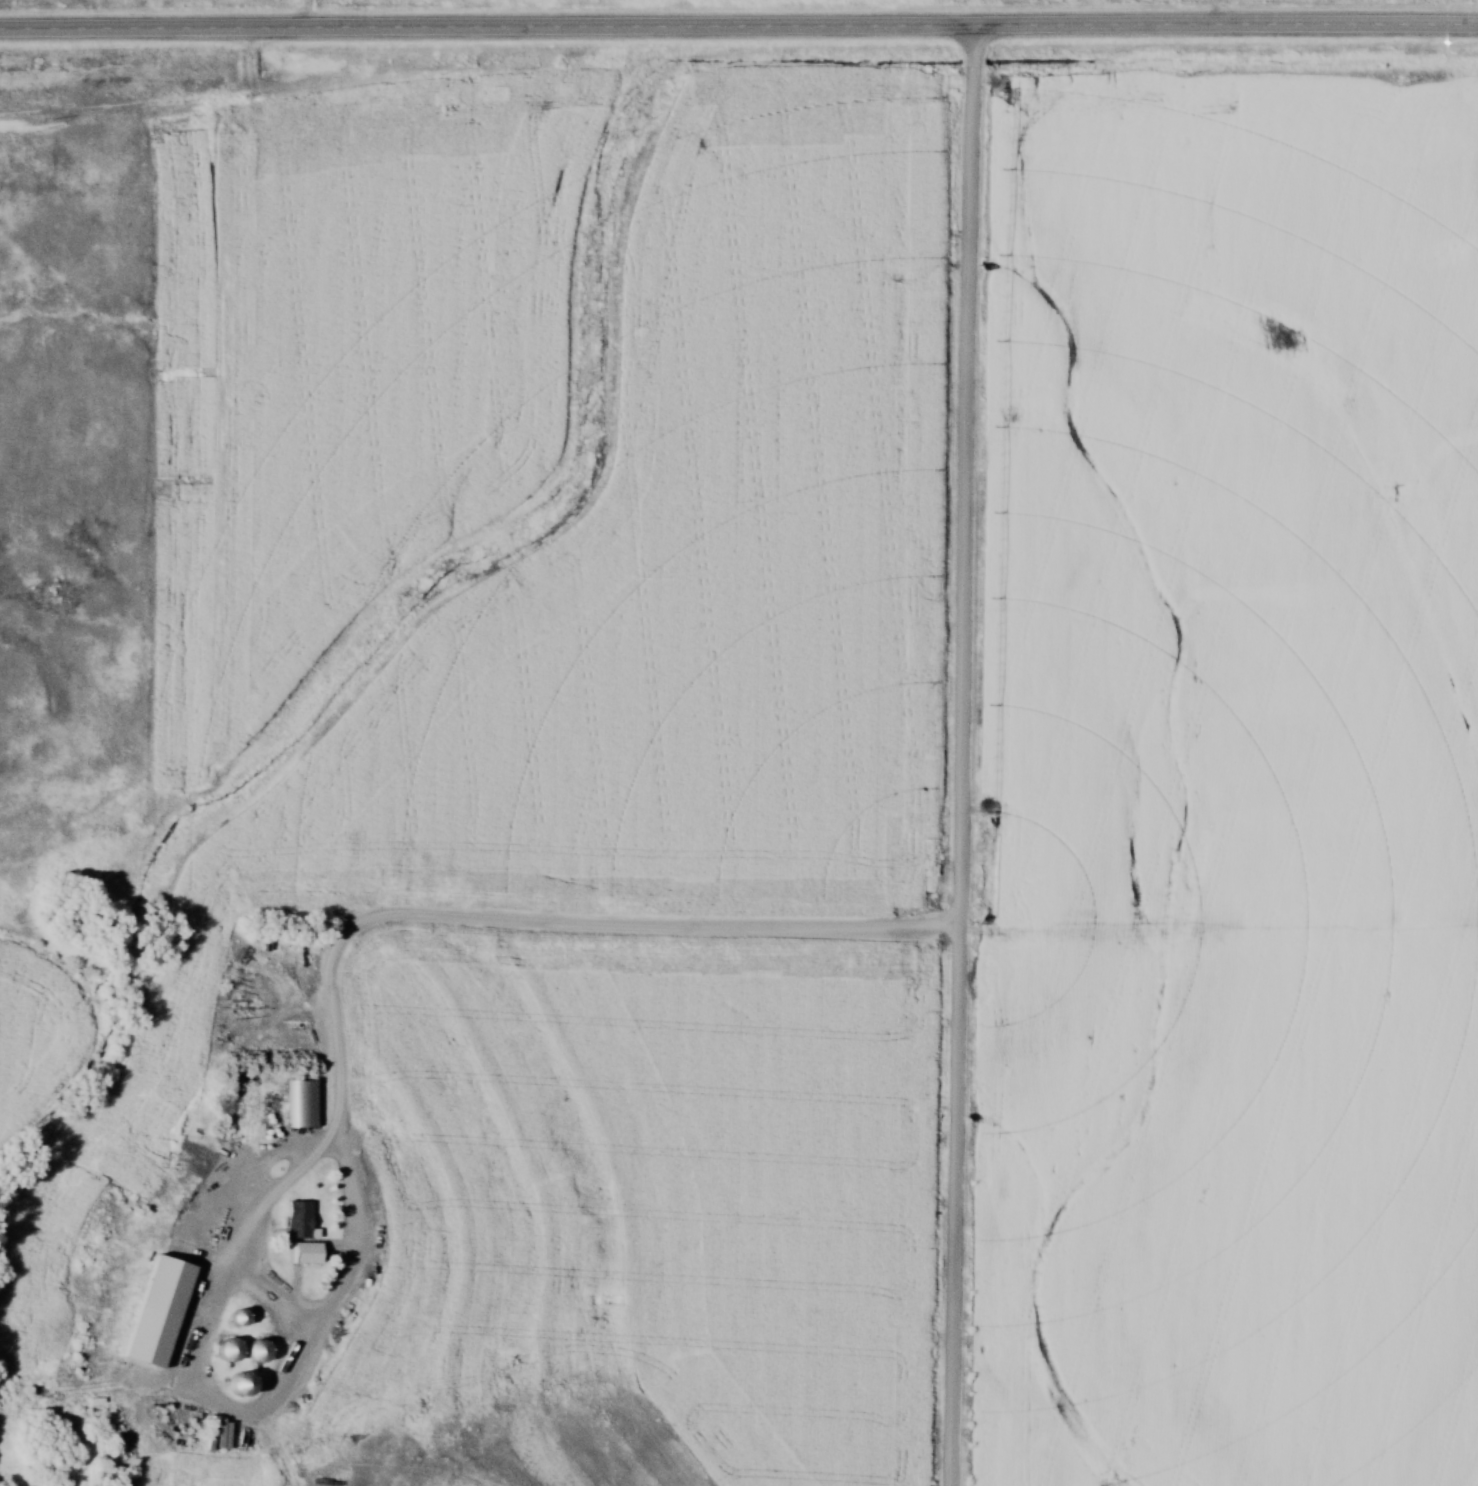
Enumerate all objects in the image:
road: (738, 24)
road: (962, 753)
road: (458, 923)
building: (303, 1103)
building: (296, 1219)
building: (202, 1223)
building: (224, 1288)
building: (169, 1303)
building: (235, 1316)
building: (225, 1350)
building: (254, 1350)
building: (236, 1383)

